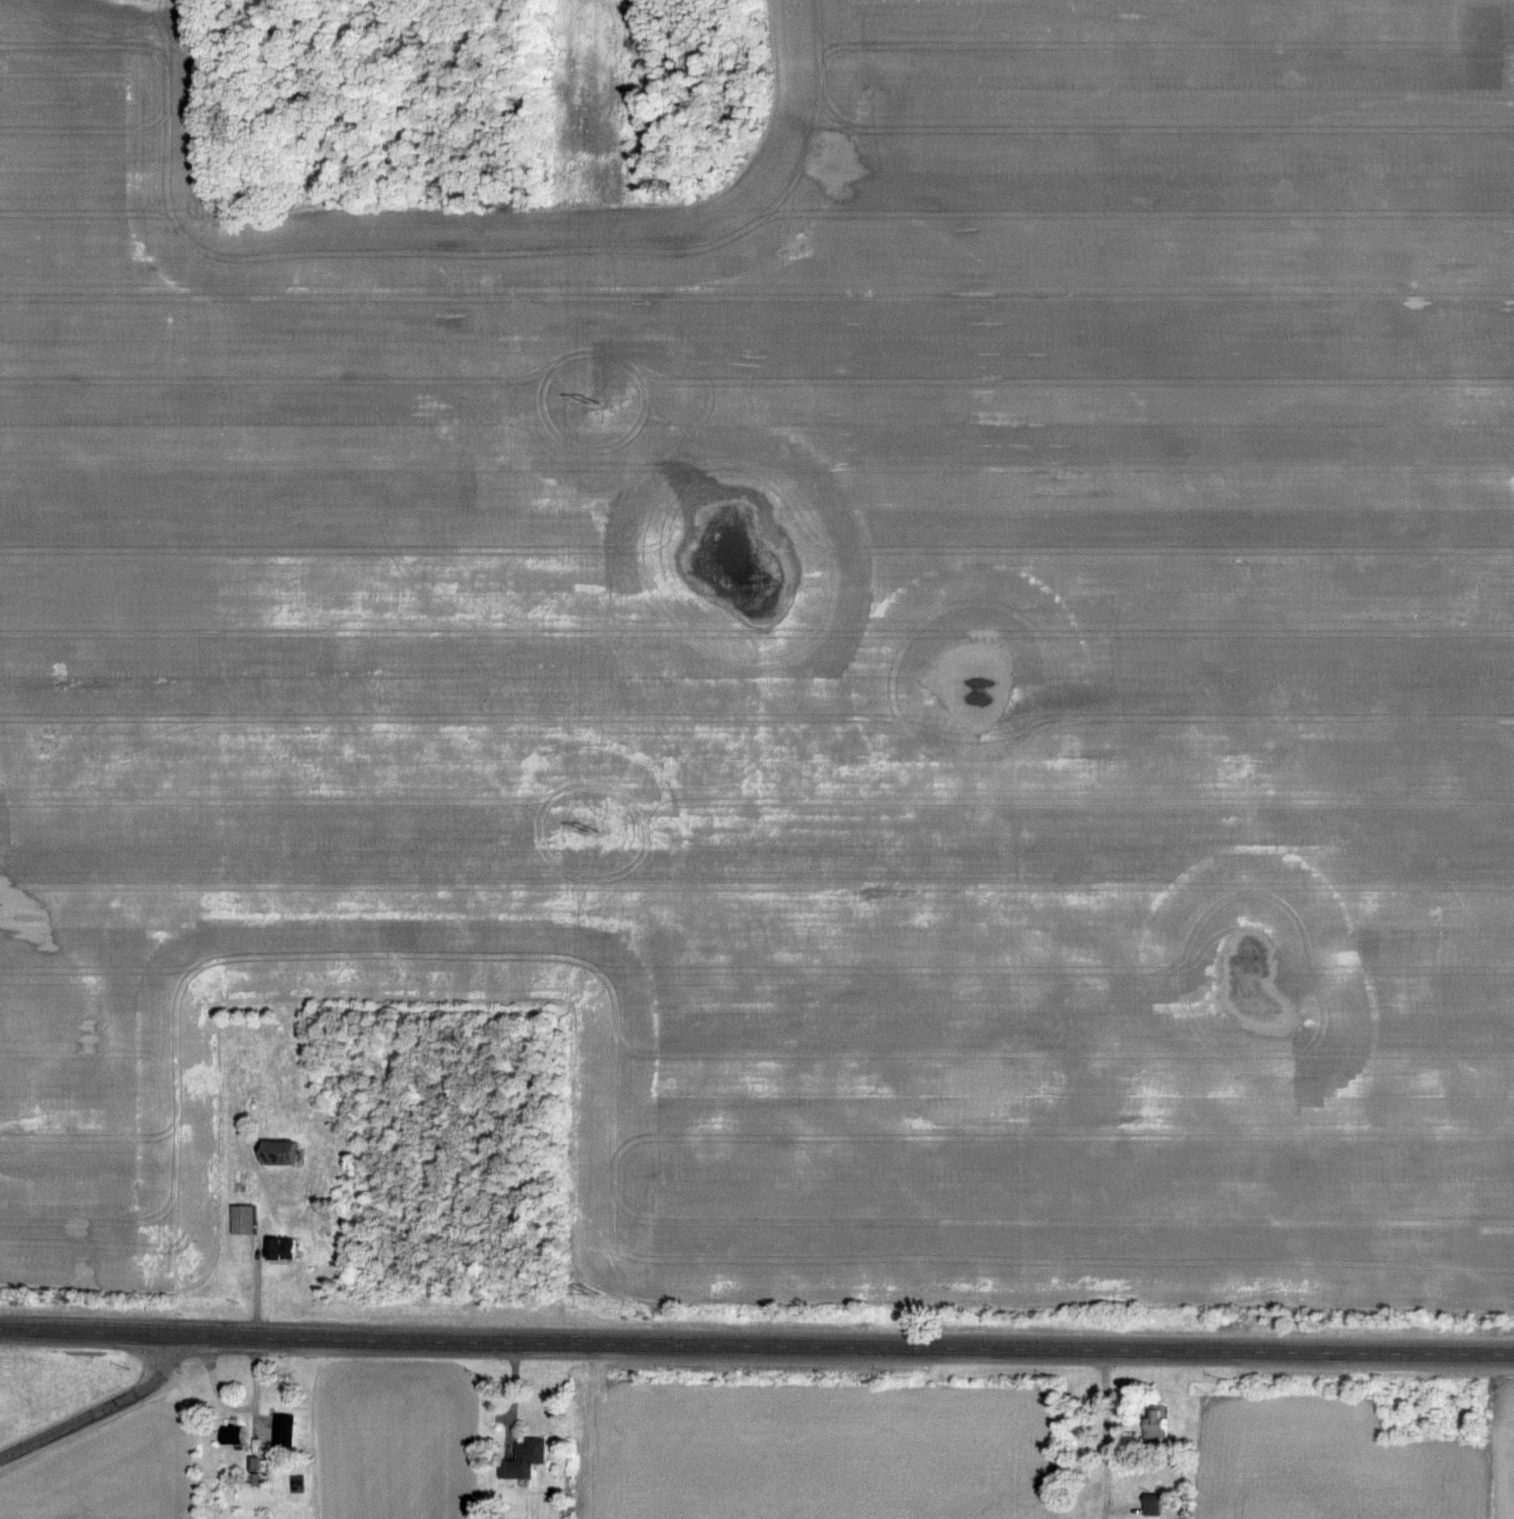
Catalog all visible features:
power tower: (594, 394)
power tower: (596, 830)
building: (271, 1154)
building: (239, 1227)
building: (278, 1257)
power tower: (594, 1293)
road: (756, 1344)
road: (101, 1415)
building: (1151, 1431)
building: (279, 1439)
building: (228, 1443)
building: (519, 1467)
building: (1147, 1510)

